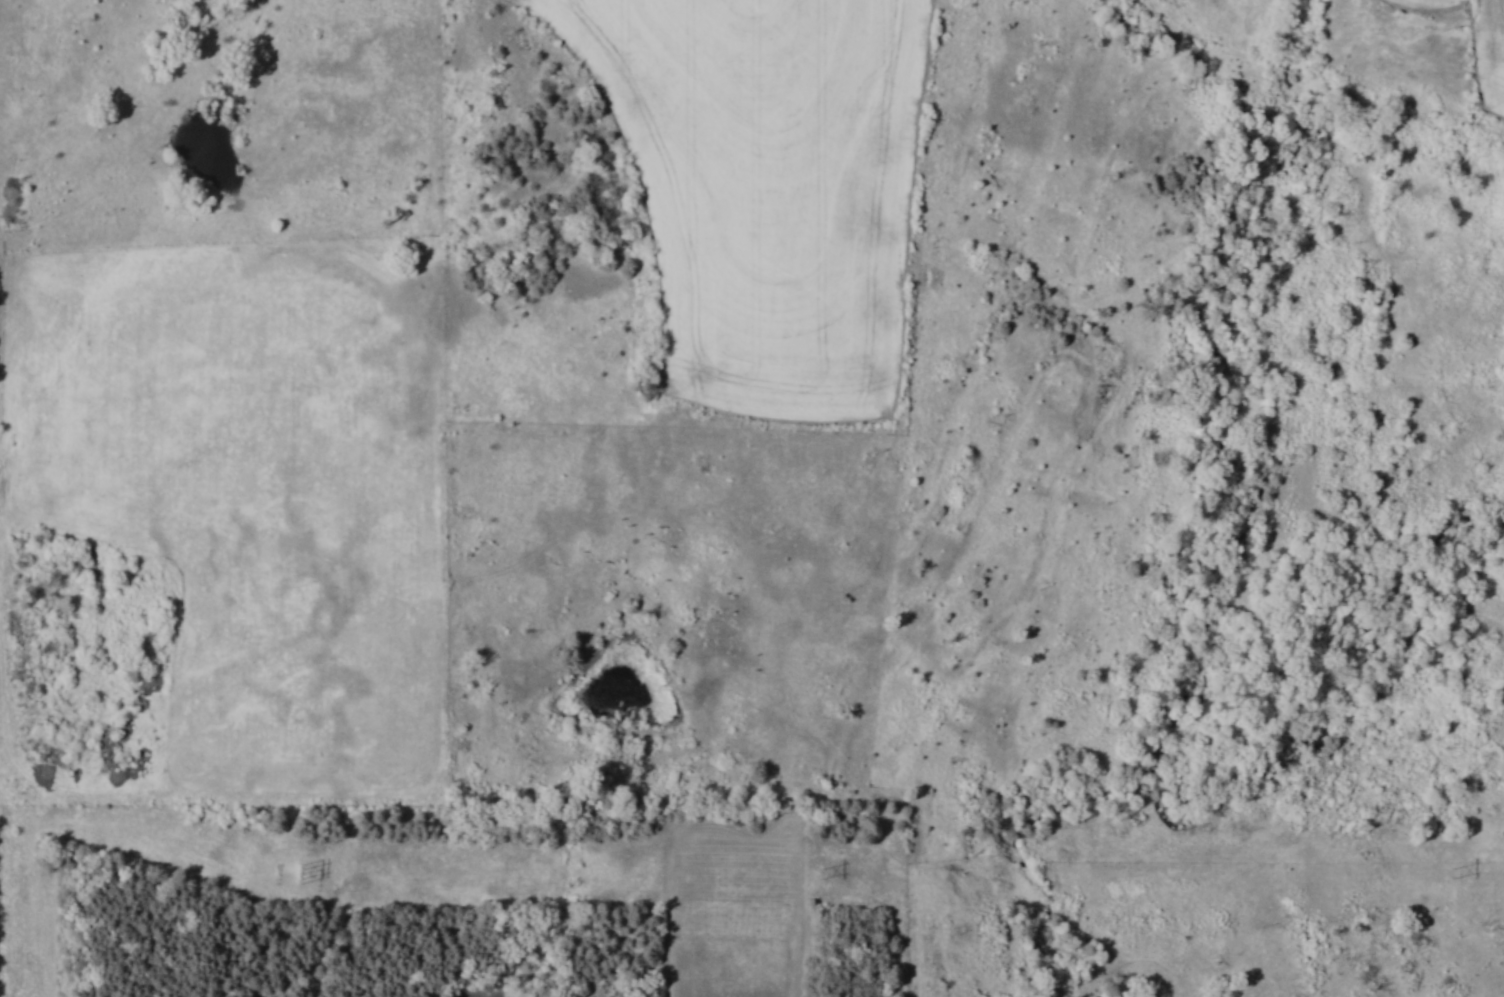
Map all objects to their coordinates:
power tower: (297, 872)
power tower: (817, 872)
power tower: (1450, 872)

